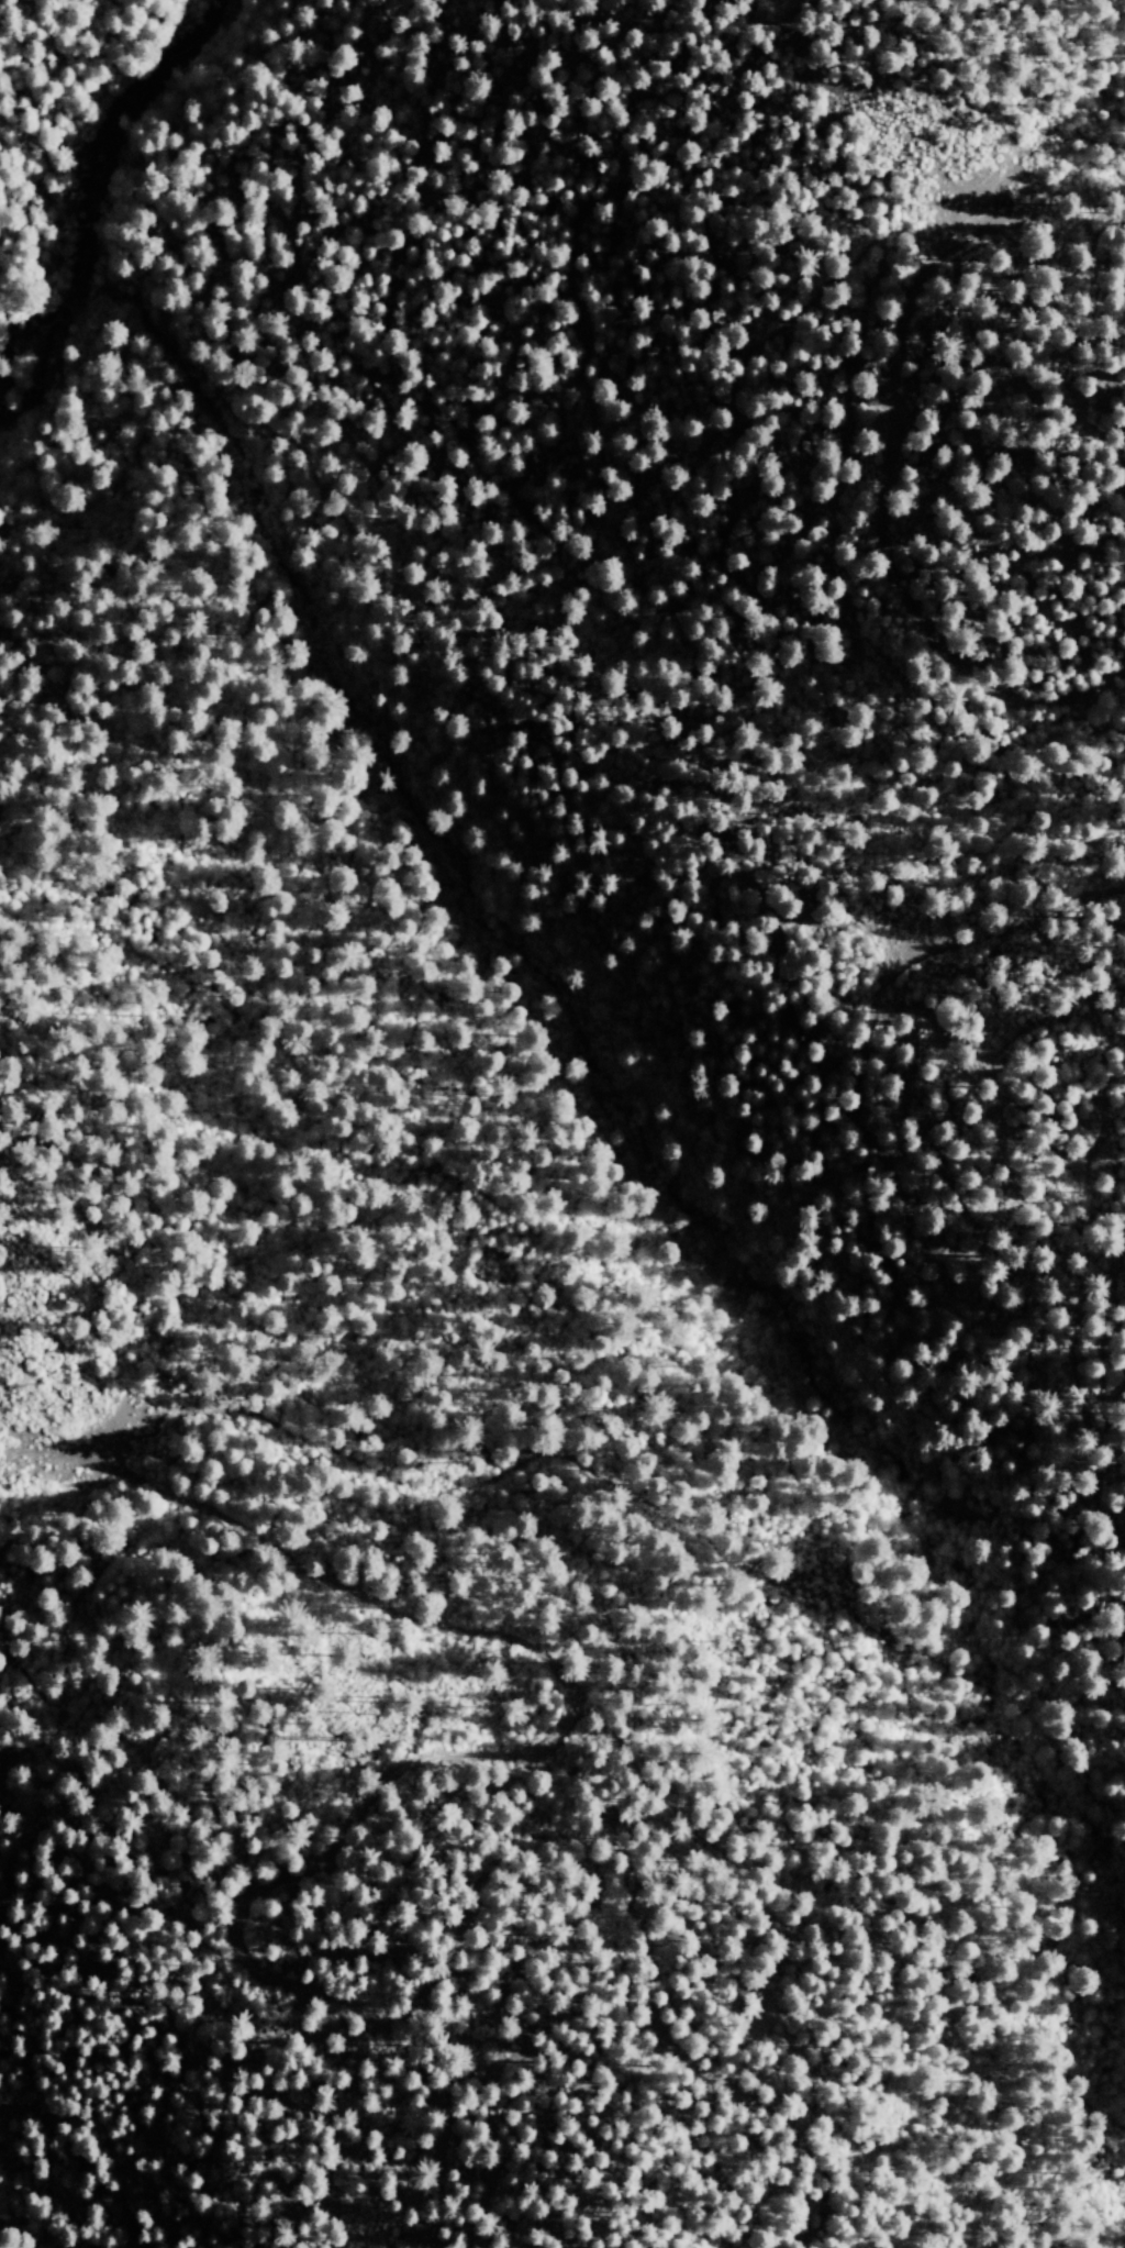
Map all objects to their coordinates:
river: (96, 188)
road: (875, 514)
road: (988, 928)

